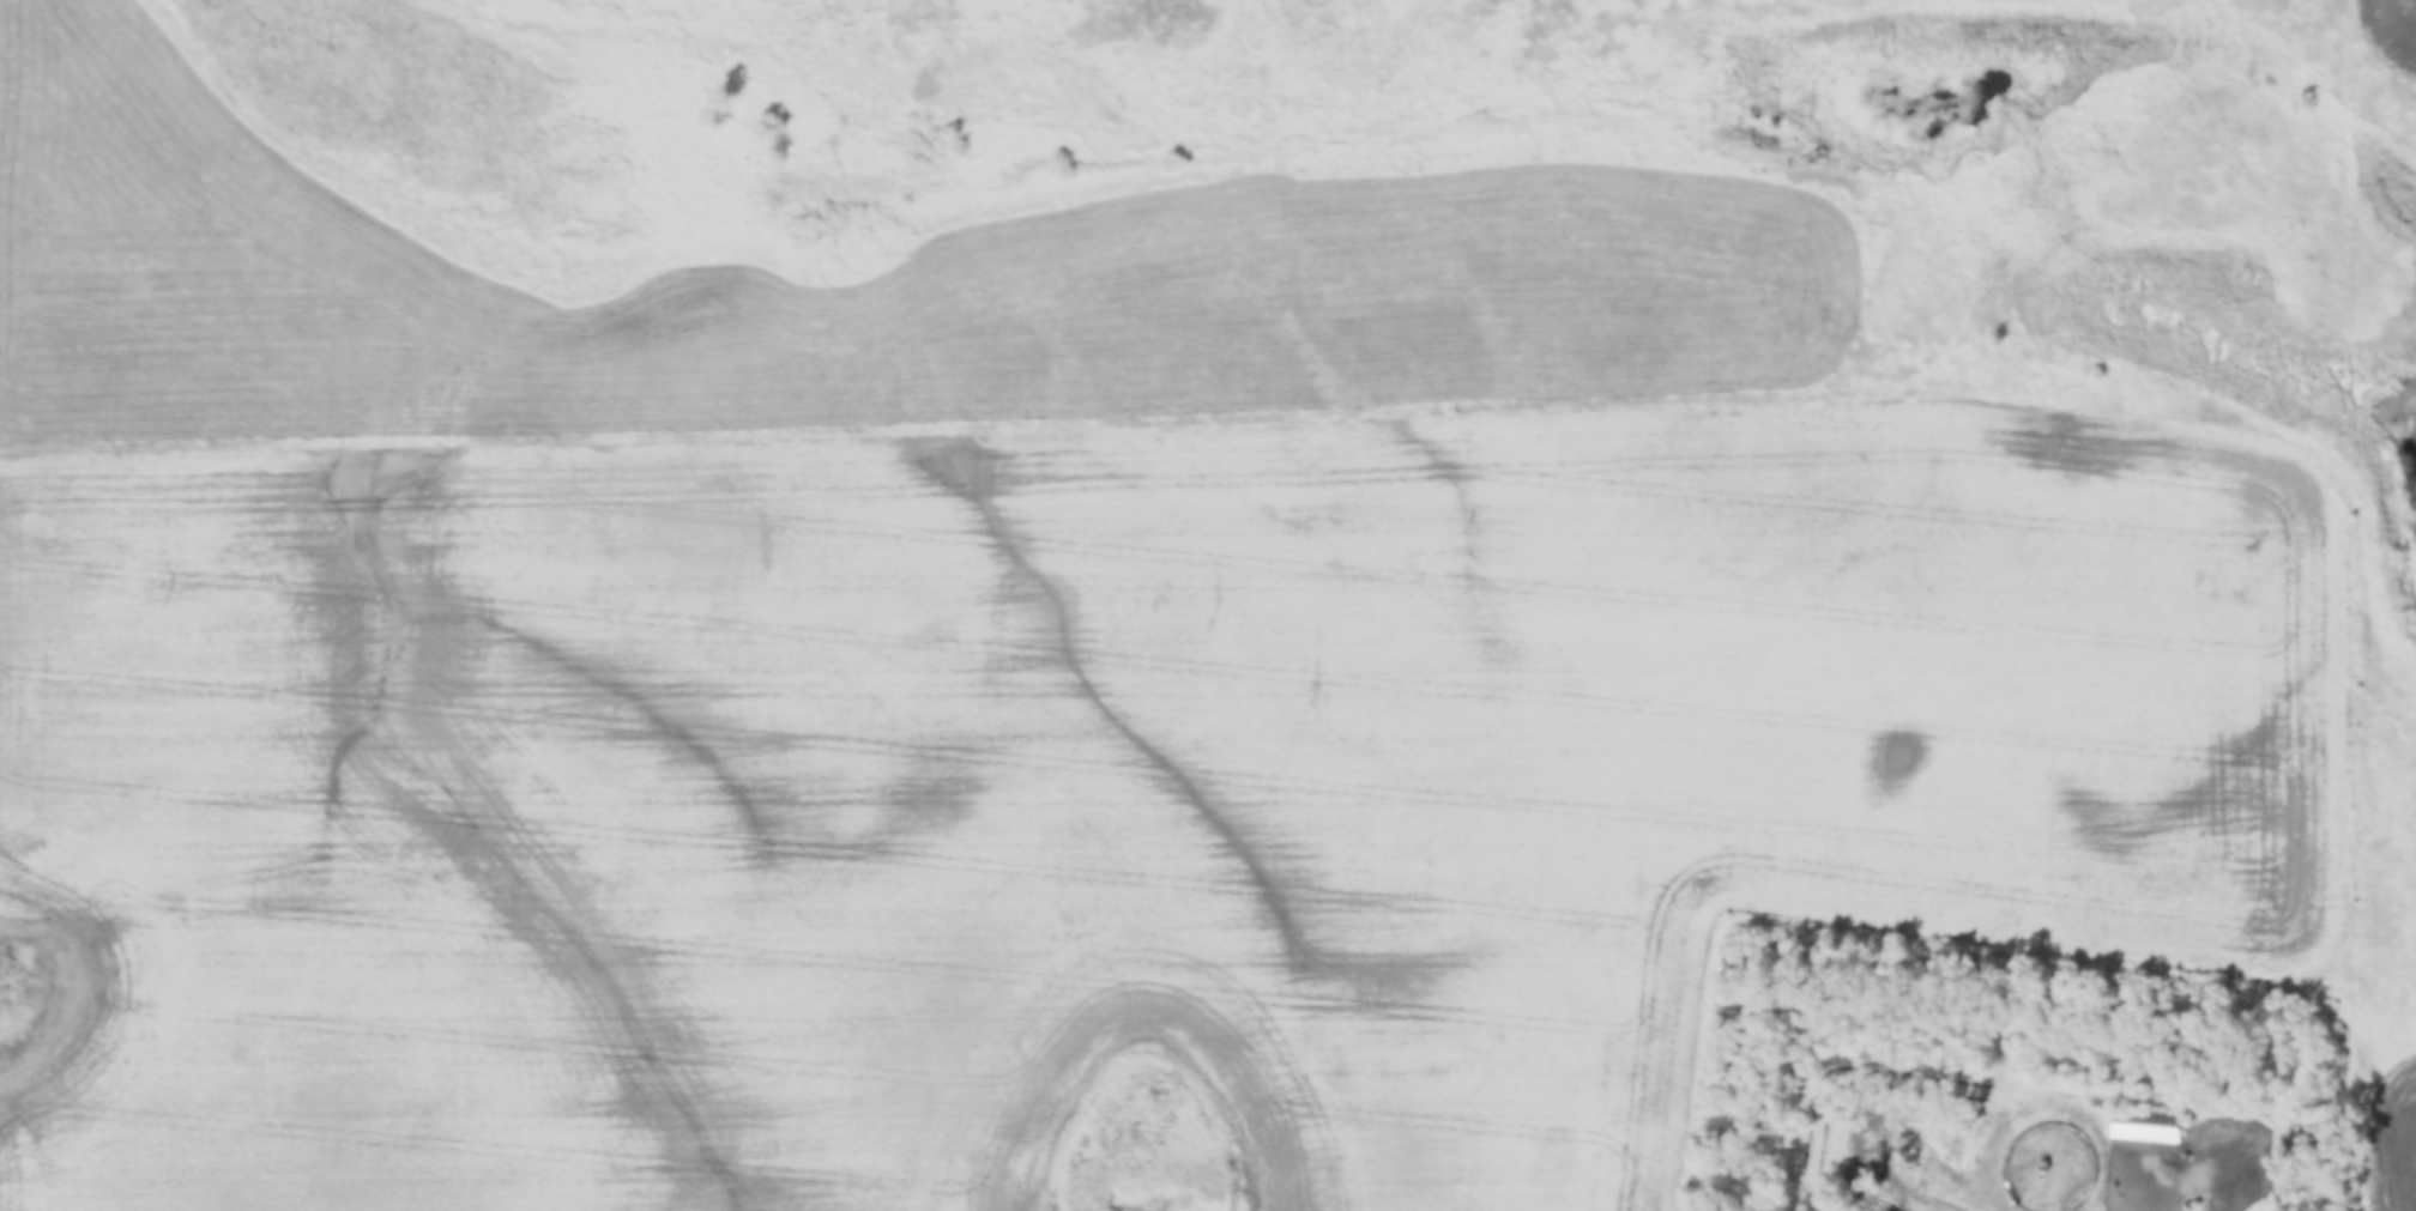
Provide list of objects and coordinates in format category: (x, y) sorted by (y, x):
building: (2143, 1127)

